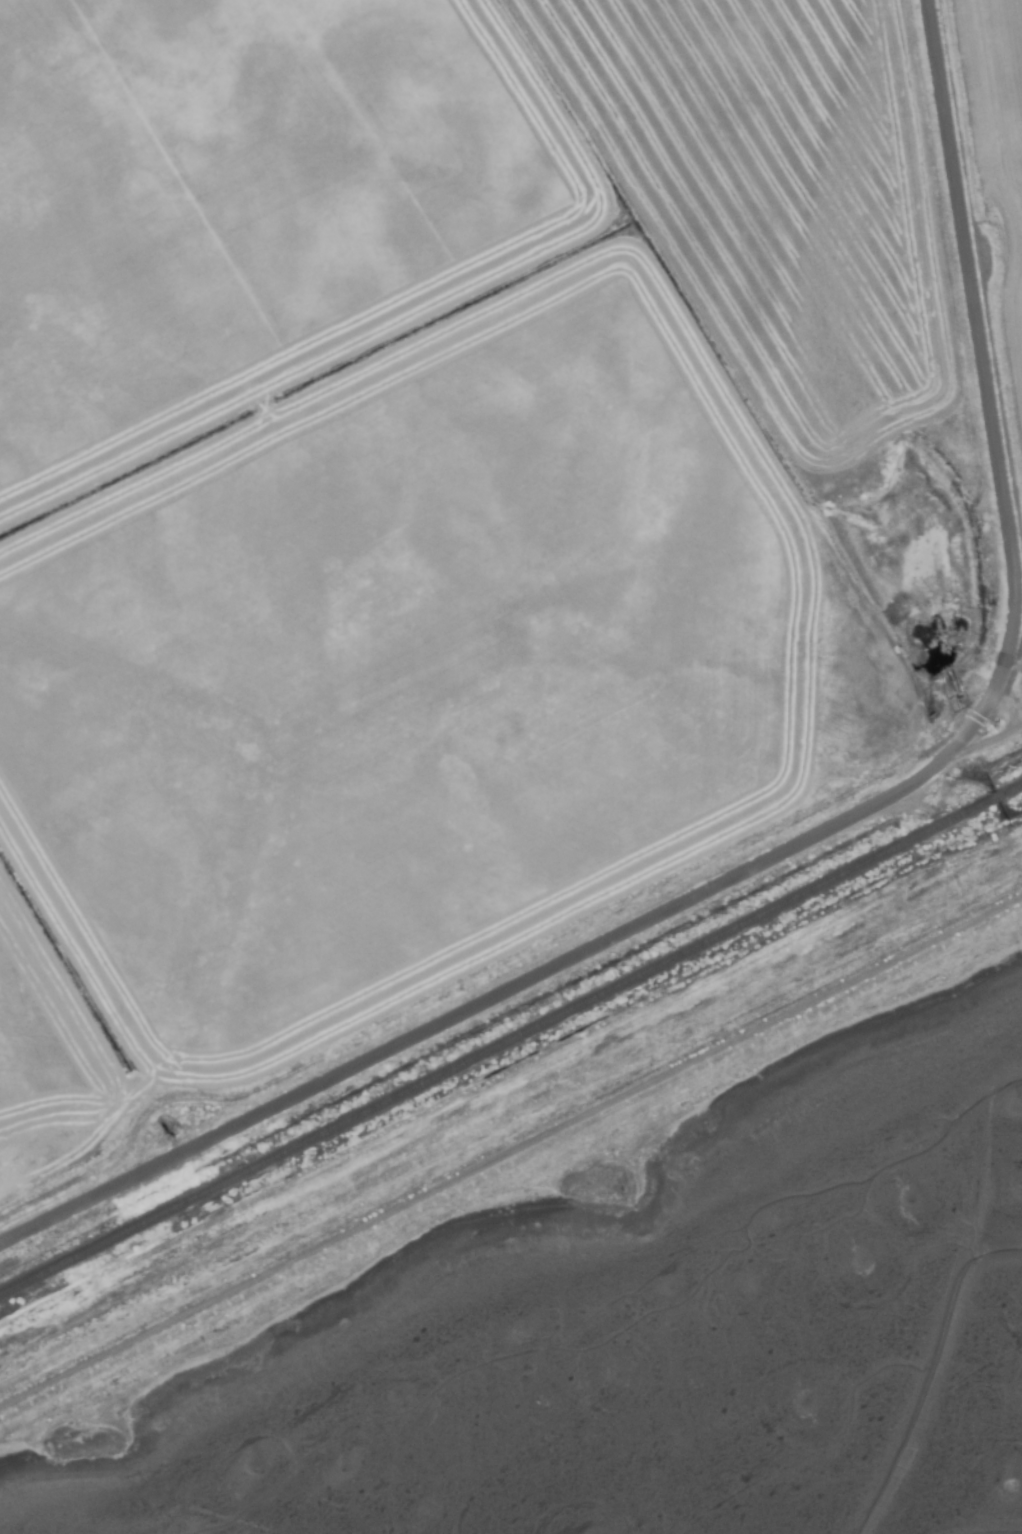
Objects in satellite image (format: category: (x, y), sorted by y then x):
road: (825, 832)
railway: (510, 1040)
road: (510, 1151)

